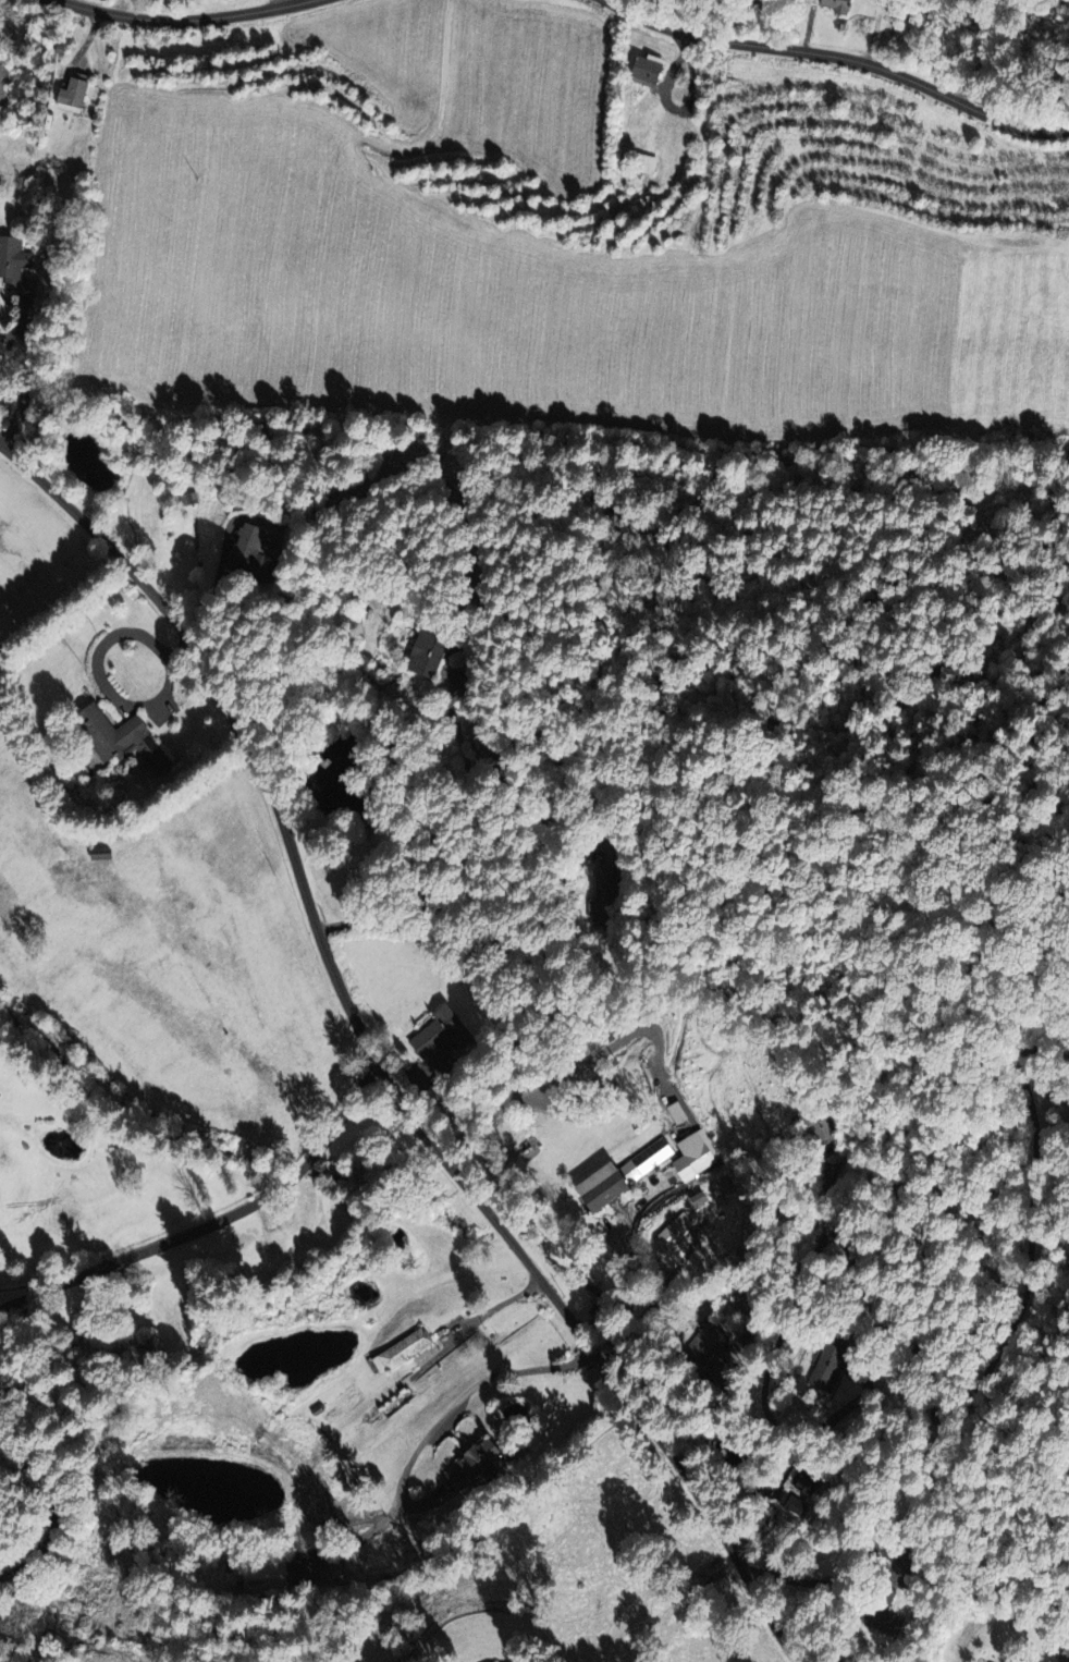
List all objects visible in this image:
building: (833, 5)
road: (184, 17)
road: (983, 52)
road: (841, 56)
road: (1018, 57)
building: (642, 68)
building: (1, 91)
building: (76, 93)
building: (643, 163)
building: (16, 265)
road: (22, 376)
building: (250, 550)
road: (223, 561)
building: (429, 651)
road: (111, 691)
building: (115, 736)
building: (602, 895)
road: (372, 925)
road: (471, 941)
building: (438, 1037)
road: (374, 1062)
building: (674, 1112)
building: (820, 1131)
building: (689, 1156)
building: (616, 1175)
building: (695, 1198)
road: (209, 1220)
building: (671, 1230)
road: (628, 1254)
road: (650, 1302)
road: (494, 1308)
road: (1003, 1342)
building: (701, 1346)
building: (744, 1347)
building: (398, 1351)
road: (771, 1360)
building: (827, 1360)
road: (454, 1402)
road: (30, 1464)
building: (468, 1464)
building: (806, 1480)
building: (905, 1560)
road: (763, 1573)
building: (262, 1574)
road: (844, 1574)
road: (790, 1578)
road: (428, 1581)
building: (880, 1612)
building: (1064, 1653)

